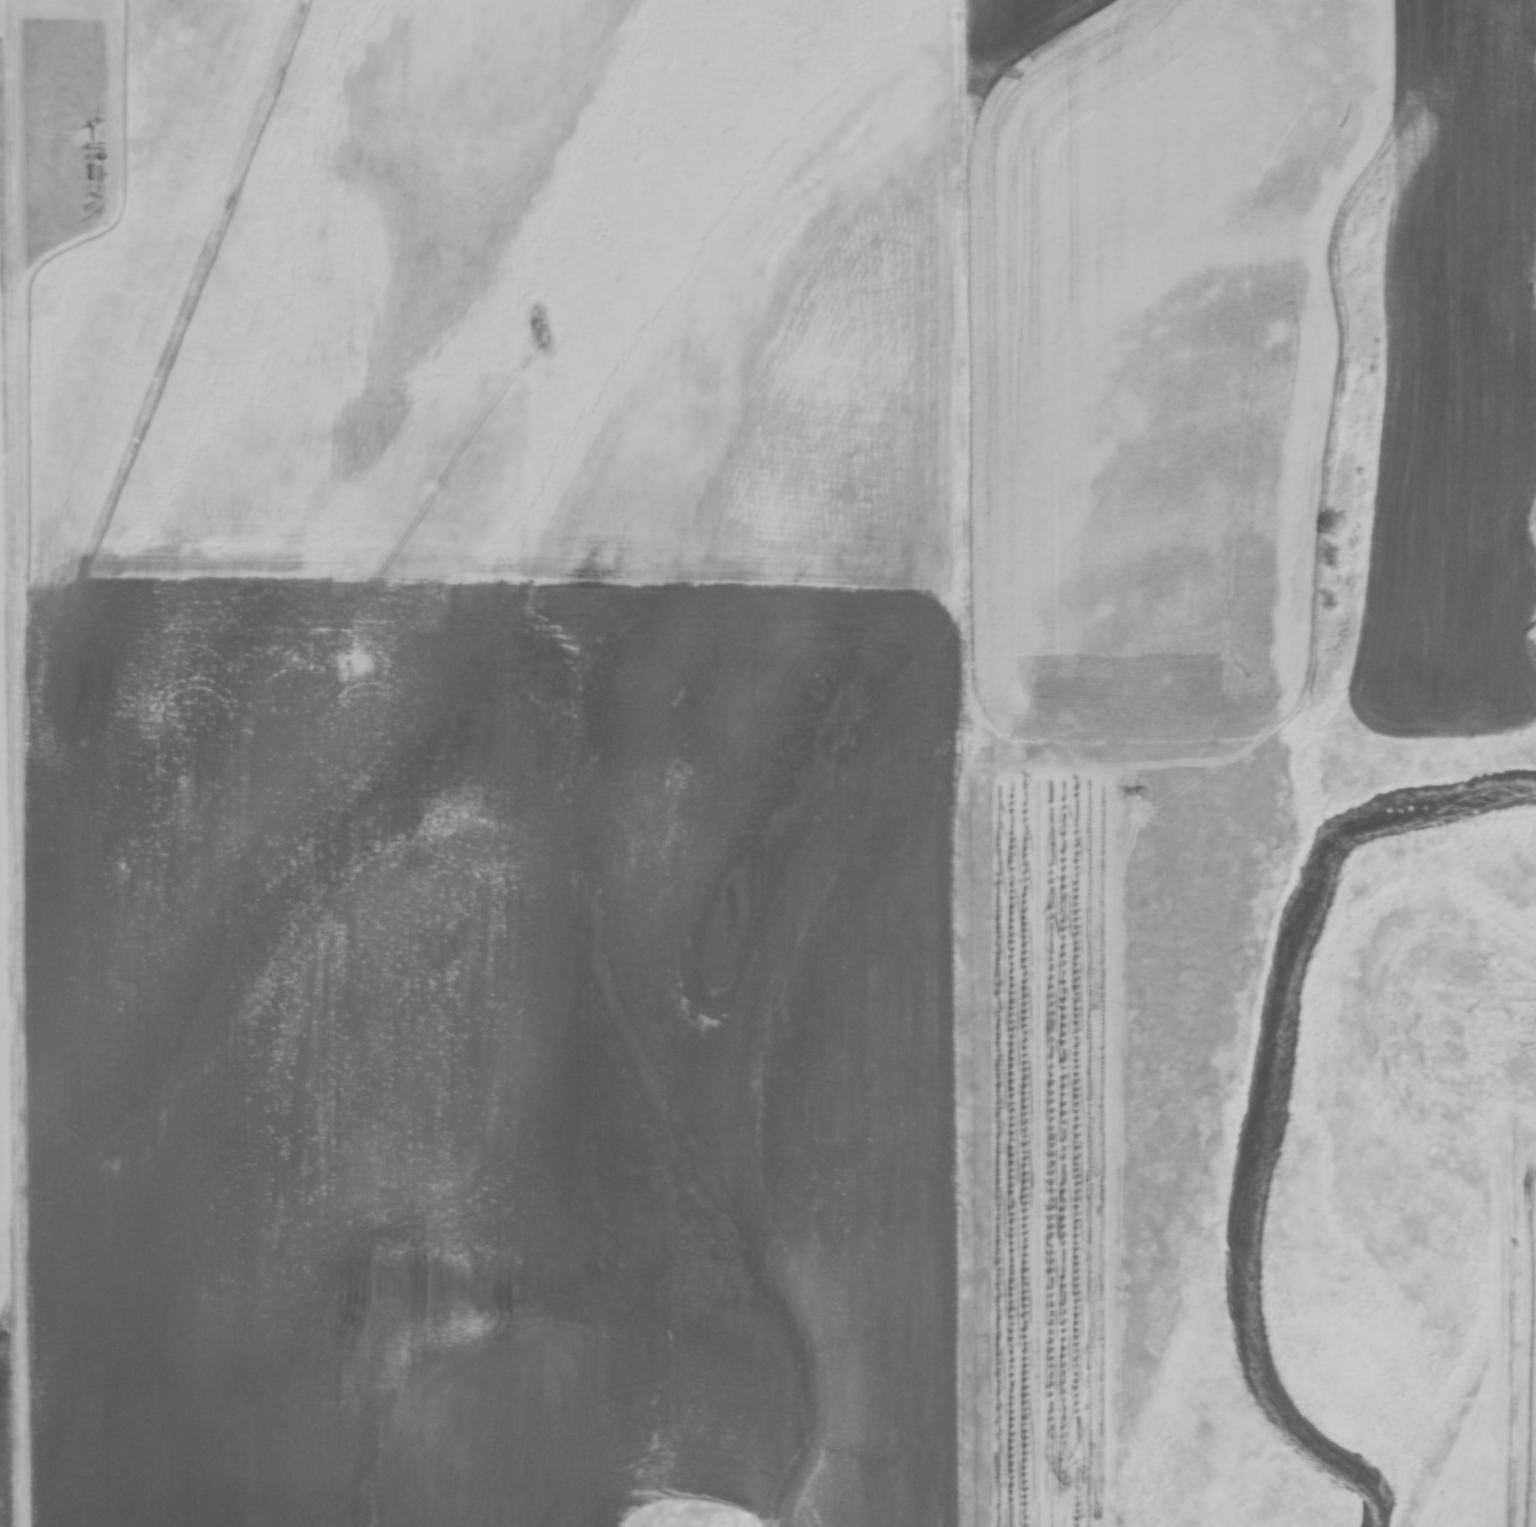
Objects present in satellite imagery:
river: (1272, 1106)

